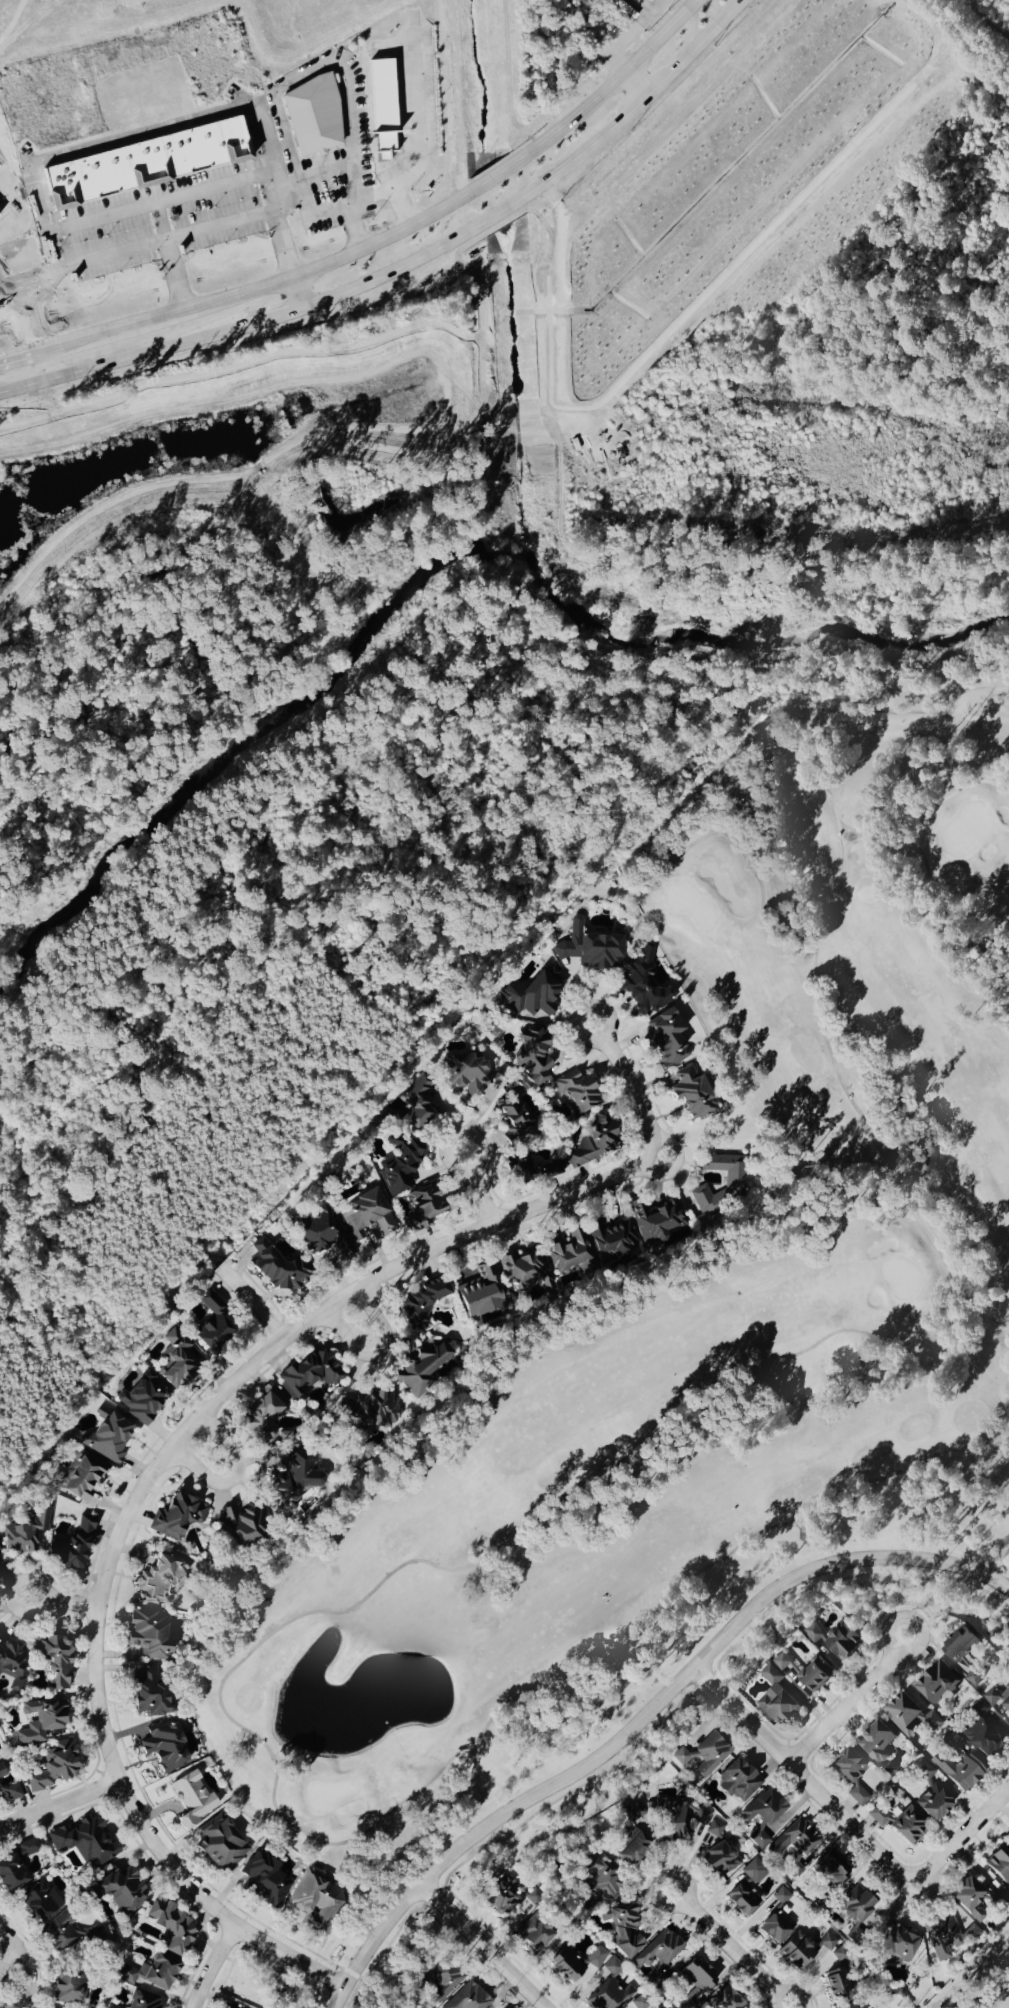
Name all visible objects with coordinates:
park: (1007, 1)
road: (413, 26)
road: (633, 32)
road: (308, 70)
road: (637, 80)
parking lot: (424, 86)
parking lot: (359, 101)
road: (417, 103)
building: (387, 105)
building: (316, 115)
road: (67, 151)
building: (147, 163)
road: (316, 172)
road: (394, 185)
parking lot: (327, 190)
road: (163, 198)
road: (354, 205)
road: (314, 210)
parking lot: (200, 212)
road: (100, 216)
road: (241, 218)
parking lot: (104, 238)
road: (379, 239)
road: (288, 258)
road: (406, 263)
road: (30, 283)
river: (435, 574)
road: (852, 844)
road: (919, 850)
building: (592, 950)
building: (643, 985)
building: (529, 998)
building: (666, 1039)
road: (888, 1045)
building: (534, 1055)
building: (464, 1074)
road: (624, 1077)
building: (692, 1092)
building: (576, 1093)
building: (419, 1103)
building: (598, 1140)
building: (399, 1166)
building: (735, 1186)
road: (478, 1188)
building: (424, 1206)
building: (366, 1215)
building: (658, 1222)
building: (323, 1233)
building: (612, 1240)
building: (572, 1254)
building: (276, 1270)
building: (520, 1270)
building: (482, 1292)
road: (252, 1301)
building: (422, 1303)
park: (697, 1309)
building: (214, 1325)
road: (374, 1350)
building: (175, 1359)
building: (310, 1373)
building: (414, 1391)
building: (144, 1398)
building: (109, 1436)
road: (173, 1446)
road: (230, 1475)
building: (82, 1477)
building: (295, 1477)
road: (569, 1497)
building: (178, 1515)
building: (239, 1526)
building: (71, 1548)
road: (9, 1594)
road: (70, 1604)
building: (151, 1634)
building: (837, 1640)
building: (962, 1656)
building: (56, 1660)
building: (809, 1673)
building: (938, 1685)
building: (998, 1699)
building: (777, 1700)
road: (847, 1701)
building: (979, 1708)
building: (911, 1717)
road: (643, 1718)
building: (42, 1721)
road: (663, 1723)
building: (982, 1737)
building: (877, 1743)
building: (168, 1745)
building: (703, 1755)
building: (54, 1768)
building: (888, 1771)
building: (2, 1772)
building: (961, 1772)
building: (852, 1775)
building: (739, 1781)
building: (11, 1792)
building: (931, 1795)
building: (192, 1800)
road: (58, 1803)
building: (764, 1808)
building: (879, 1817)
building: (681, 1821)
road: (846, 1824)
building: (908, 1827)
building: (631, 1836)
building: (760, 1838)
building: (84, 1842)
building: (220, 1843)
building: (794, 1846)
building: (717, 1853)
building: (999, 1864)
building: (16, 1866)
building: (832, 1867)
building: (754, 1872)
building: (263, 1879)
building: (122, 1891)
building: (782, 1896)
building: (509, 1897)
building: (744, 1899)
building: (970, 1900)
building: (40, 1903)
building: (855, 1905)
building: (316, 1906)
building: (628, 1921)
building: (566, 1922)
building: (172, 1927)
building: (776, 1927)
building: (532, 1932)
building: (62, 1933)
building: (855, 1934)
building: (943, 1938)
road: (727, 1945)
road: (483, 1946)
building: (894, 1947)
building: (802, 1951)
building: (598, 1957)
road: (15, 1962)
building: (569, 1965)
road: (210, 1966)
building: (612, 1969)
building: (158, 1973)
road: (354, 1974)
park: (256, 1978)
building: (840, 1979)
building: (695, 1984)
building: (68, 1990)
road: (793, 1992)
building: (610, 1996)
building: (468, 1998)
building: (725, 2000)
building: (143, 2002)
building: (643, 2004)
building: (111, 2006)
building: (229, 2006)
building: (848, 2007)

